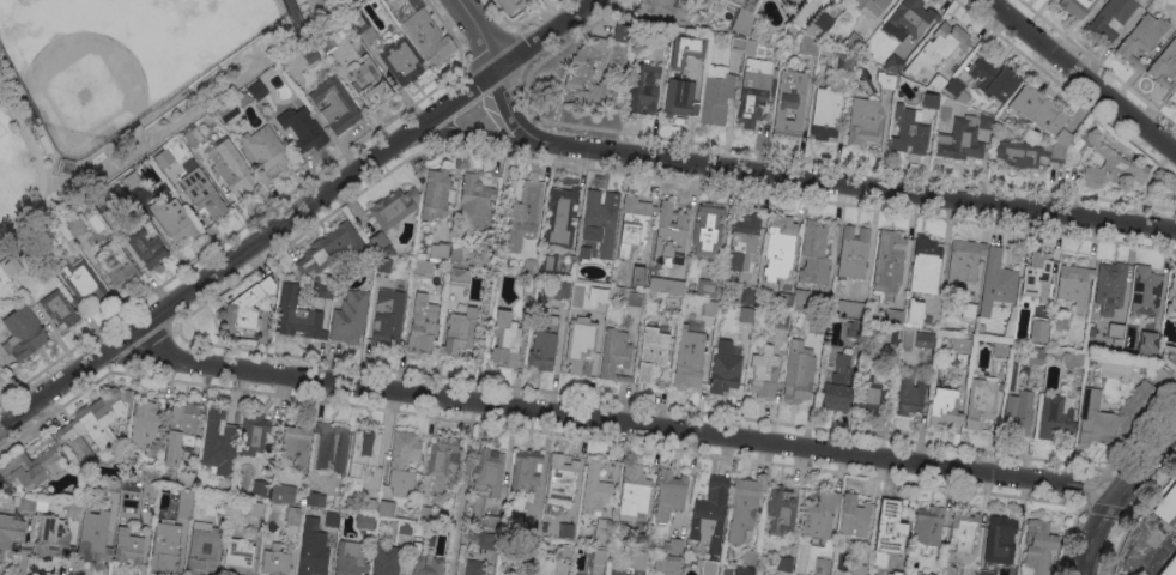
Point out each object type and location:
building: (751, 0)
building: (752, 0)
building: (841, 0)
building: (891, 0)
building: (795, 1)
building: (510, 5)
building: (869, 6)
building: (1077, 6)
building: (673, 10)
road: (537, 13)
road: (501, 14)
road: (1033, 14)
building: (1111, 18)
building: (742, 19)
building: (908, 20)
building: (363, 25)
building: (819, 25)
road: (515, 29)
building: (426, 32)
road: (479, 32)
building: (622, 32)
road: (449, 34)
building: (1175, 34)
building: (1141, 38)
building: (853, 41)
building: (325, 42)
road: (565, 42)
building: (354, 43)
building: (742, 44)
building: (808, 44)
building: (938, 48)
building: (685, 50)
building: (309, 54)
park: (117, 60)
building: (401, 60)
building: (844, 62)
road: (516, 63)
building: (892, 63)
building: (1165, 67)
building: (582, 71)
road: (1081, 77)
building: (993, 79)
building: (887, 80)
building: (368, 81)
building: (936, 81)
park: (121, 86)
building: (642, 87)
building: (257, 89)
building: (957, 90)
building: (753, 91)
building: (1174, 93)
building: (715, 95)
building: (679, 98)
building: (929, 101)
building: (790, 102)
building: (335, 104)
building: (1037, 109)
building: (228, 110)
building: (825, 113)
road: (510, 114)
building: (862, 121)
building: (986, 121)
building: (301, 129)
park: (1, 131)
building: (909, 132)
building: (193, 135)
building: (1062, 138)
building: (960, 140)
building: (1075, 149)
building: (267, 152)
building: (1028, 153)
building: (164, 157)
building: (67, 165)
building: (230, 165)
building: (1113, 169)
road: (794, 174)
road: (55, 176)
building: (133, 178)
building: (202, 194)
building: (435, 194)
building: (102, 200)
building: (474, 201)
building: (394, 207)
building: (526, 210)
road: (295, 212)
building: (560, 217)
building: (601, 218)
building: (174, 219)
building: (73, 224)
building: (632, 224)
building: (708, 230)
road: (230, 234)
building: (669, 235)
road: (296, 236)
building: (44, 243)
building: (381, 243)
building: (742, 243)
building: (780, 247)
building: (146, 248)
building: (328, 248)
building: (438, 252)
building: (853, 252)
building: (457, 253)
building: (814, 255)
building: (963, 260)
building: (526, 261)
building: (889, 262)
building: (383, 264)
building: (548, 264)
building: (115, 265)
building: (925, 265)
building: (12, 266)
building: (422, 267)
building: (1036, 273)
building: (460, 274)
building: (637, 277)
building: (81, 280)
building: (998, 283)
building: (527, 285)
building: (666, 285)
building: (1074, 285)
building: (1110, 286)
building: (707, 287)
building: (323, 290)
building: (560, 290)
building: (1146, 290)
building: (599, 293)
building: (748, 296)
building: (1171, 297)
building: (787, 299)
building: (801, 299)
building: (635, 303)
building: (673, 303)
building: (247, 305)
building: (59, 308)
building: (709, 308)
building: (850, 308)
building: (969, 310)
building: (915, 311)
building: (389, 314)
building: (746, 314)
building: (297, 315)
building: (350, 316)
building: (895, 316)
building: (1060, 321)
building: (781, 323)
building: (811, 326)
building: (423, 327)
building: (851, 328)
building: (1038, 329)
building: (459, 332)
building: (23, 333)
building: (1115, 333)
building: (890, 334)
building: (505, 339)
building: (925, 339)
building: (1147, 344)
building: (963, 345)
building: (580, 346)
road: (137, 347)
building: (542, 349)
building: (1000, 350)
building: (616, 355)
building: (1036, 356)
building: (1168, 356)
road: (480, 357)
building: (650, 357)
building: (1075, 359)
building: (689, 361)
building: (725, 370)
building: (763, 373)
building: (798, 375)
building: (1160, 375)
building: (837, 383)
building: (871, 394)
building: (908, 394)
building: (981, 401)
building: (945, 406)
road: (56, 407)
building: (1018, 413)
building: (1055, 414)
building: (1113, 417)
road: (618, 419)
building: (95, 423)
building: (145, 424)
road: (1145, 429)
building: (181, 431)
building: (254, 434)
building: (218, 442)
building: (297, 443)
building: (332, 447)
building: (364, 450)
building: (402, 460)
building: (442, 460)
building: (30, 467)
building: (526, 467)
building: (489, 471)
building: (150, 477)
building: (186, 478)
building: (562, 478)
building: (113, 485)
road: (1097, 486)
building: (260, 488)
building: (595, 488)
building: (150, 490)
building: (43, 492)
building: (283, 492)
building: (634, 492)
building: (669, 494)
road: (1117, 494)
building: (314, 497)
building: (186, 503)
building: (223, 503)
building: (1166, 503)
building: (30, 504)
building: (368, 506)
building: (744, 507)
building: (256, 508)
building: (386, 508)
building: (73, 510)
building: (780, 512)
building: (425, 513)
building: (710, 513)
road: (1133, 513)
building: (293, 514)
building: (820, 514)
building: (854, 516)
building: (332, 519)
building: (364, 520)
building: (492, 522)
building: (529, 525)
building: (928, 525)
building: (405, 527)
building: (890, 527)
building: (420, 529)
building: (565, 529)
building: (963, 529)
building: (10, 531)
building: (602, 532)
building: (95, 537)
building: (54, 538)
building: (1000, 539)
road: (1065, 539)
building: (486, 540)
building: (641, 540)
building: (675, 545)
building: (128, 546)
building: (165, 546)
building: (1038, 547)
building: (202, 549)
building: (313, 549)
building: (25, 550)
building: (563, 551)
building: (599, 556)
building: (238, 557)
building: (351, 558)
building: (751, 558)
building: (386, 559)
building: (275, 561)
building: (636, 561)
building: (784, 563)
building: (426, 564)
building: (669, 564)
building: (822, 565)
building: (707, 567)
building: (1169, 567)
building: (474, 568)
building: (857, 569)
building: (744, 570)
road: (1126, 570)
road: (20, 571)
building: (895, 573)
building: (987, 573)
road: (1125, 573)
building: (928, 574)

